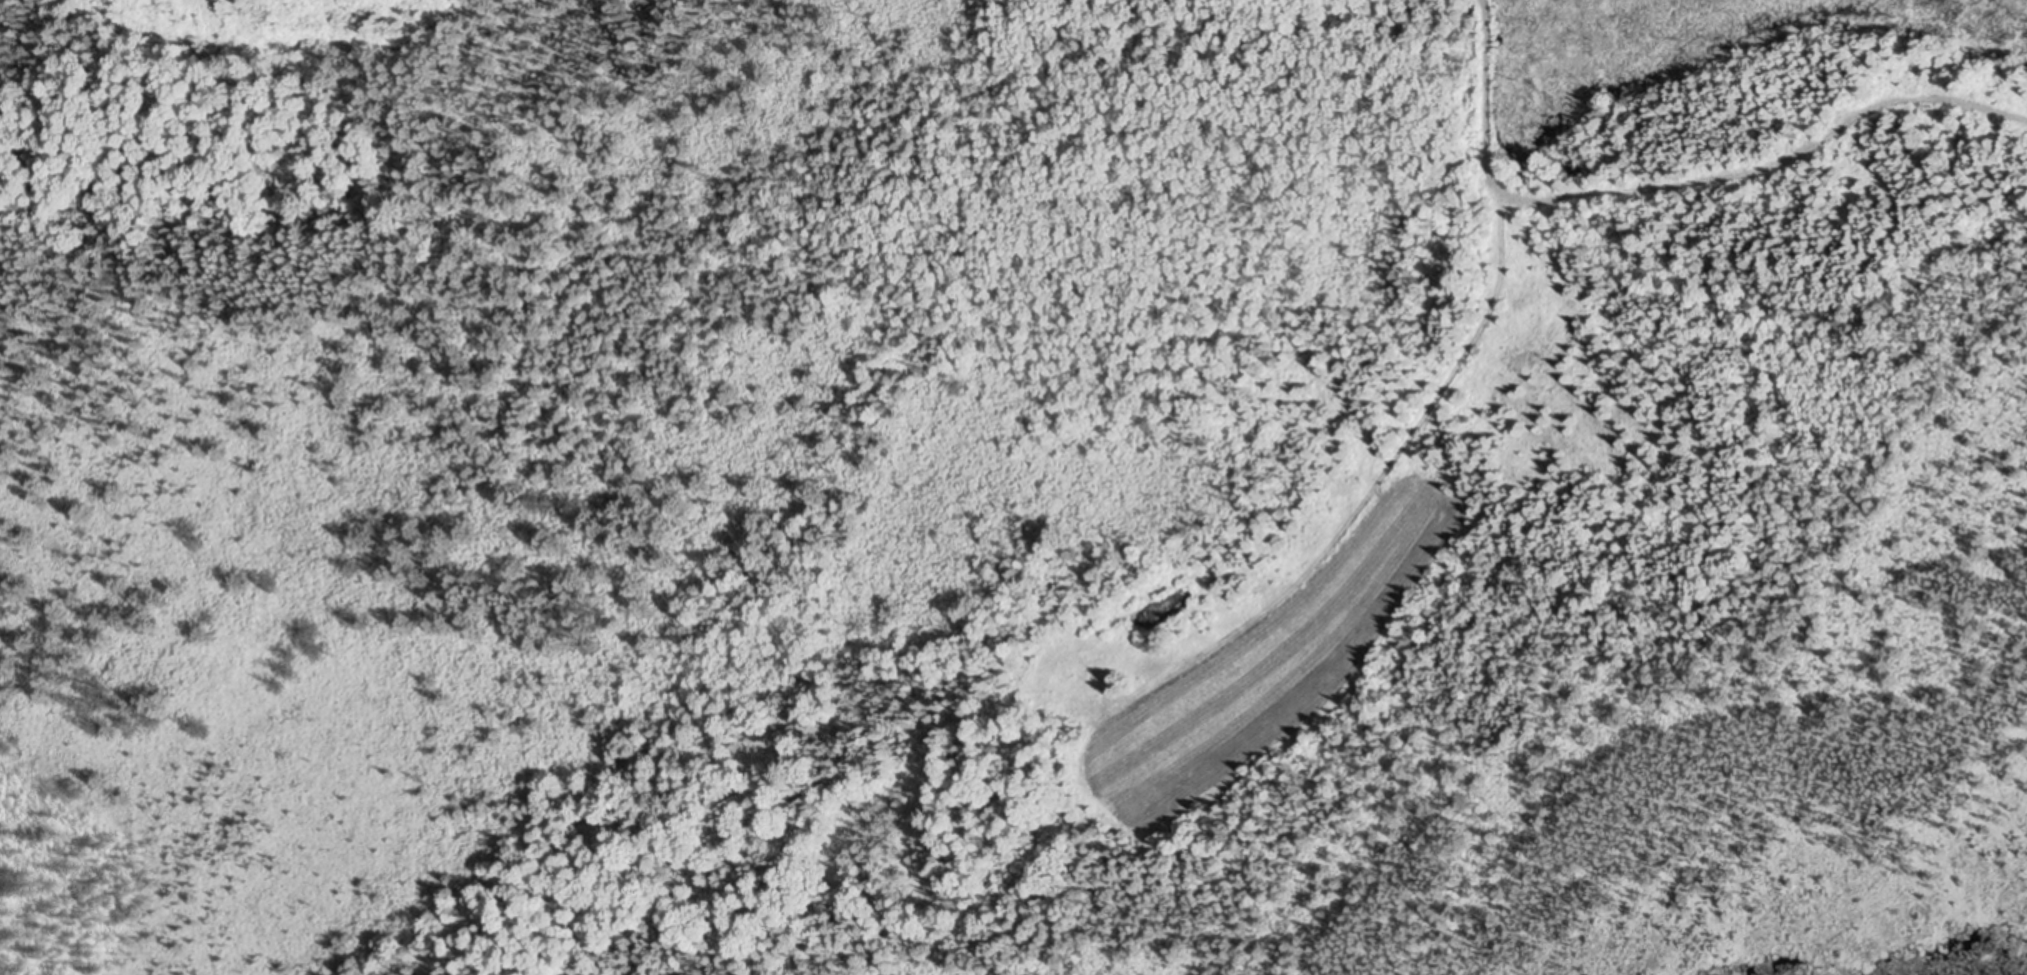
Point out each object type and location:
road: (1668, 187)

